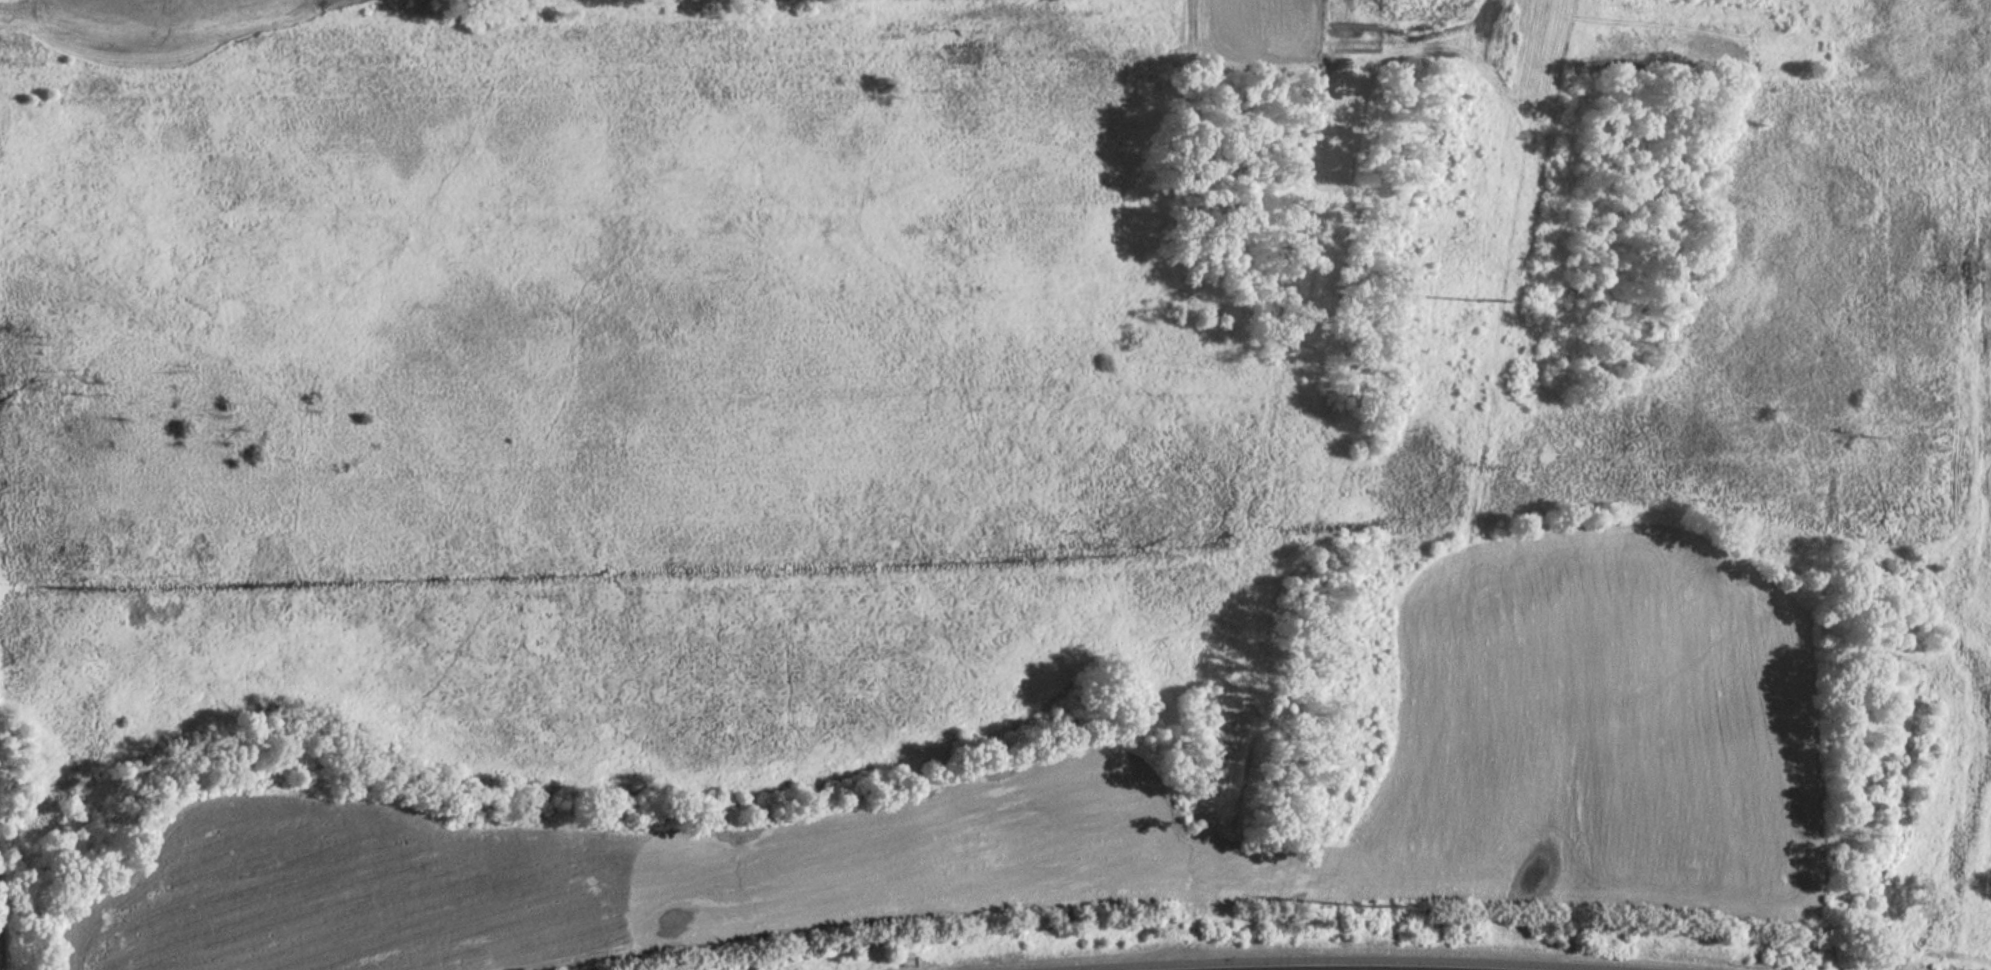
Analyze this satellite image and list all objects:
crop: (314, 0)
crop: (1260, 20)
power tower: (1481, 305)
crop: (1116, 801)
power tower: (1371, 927)

